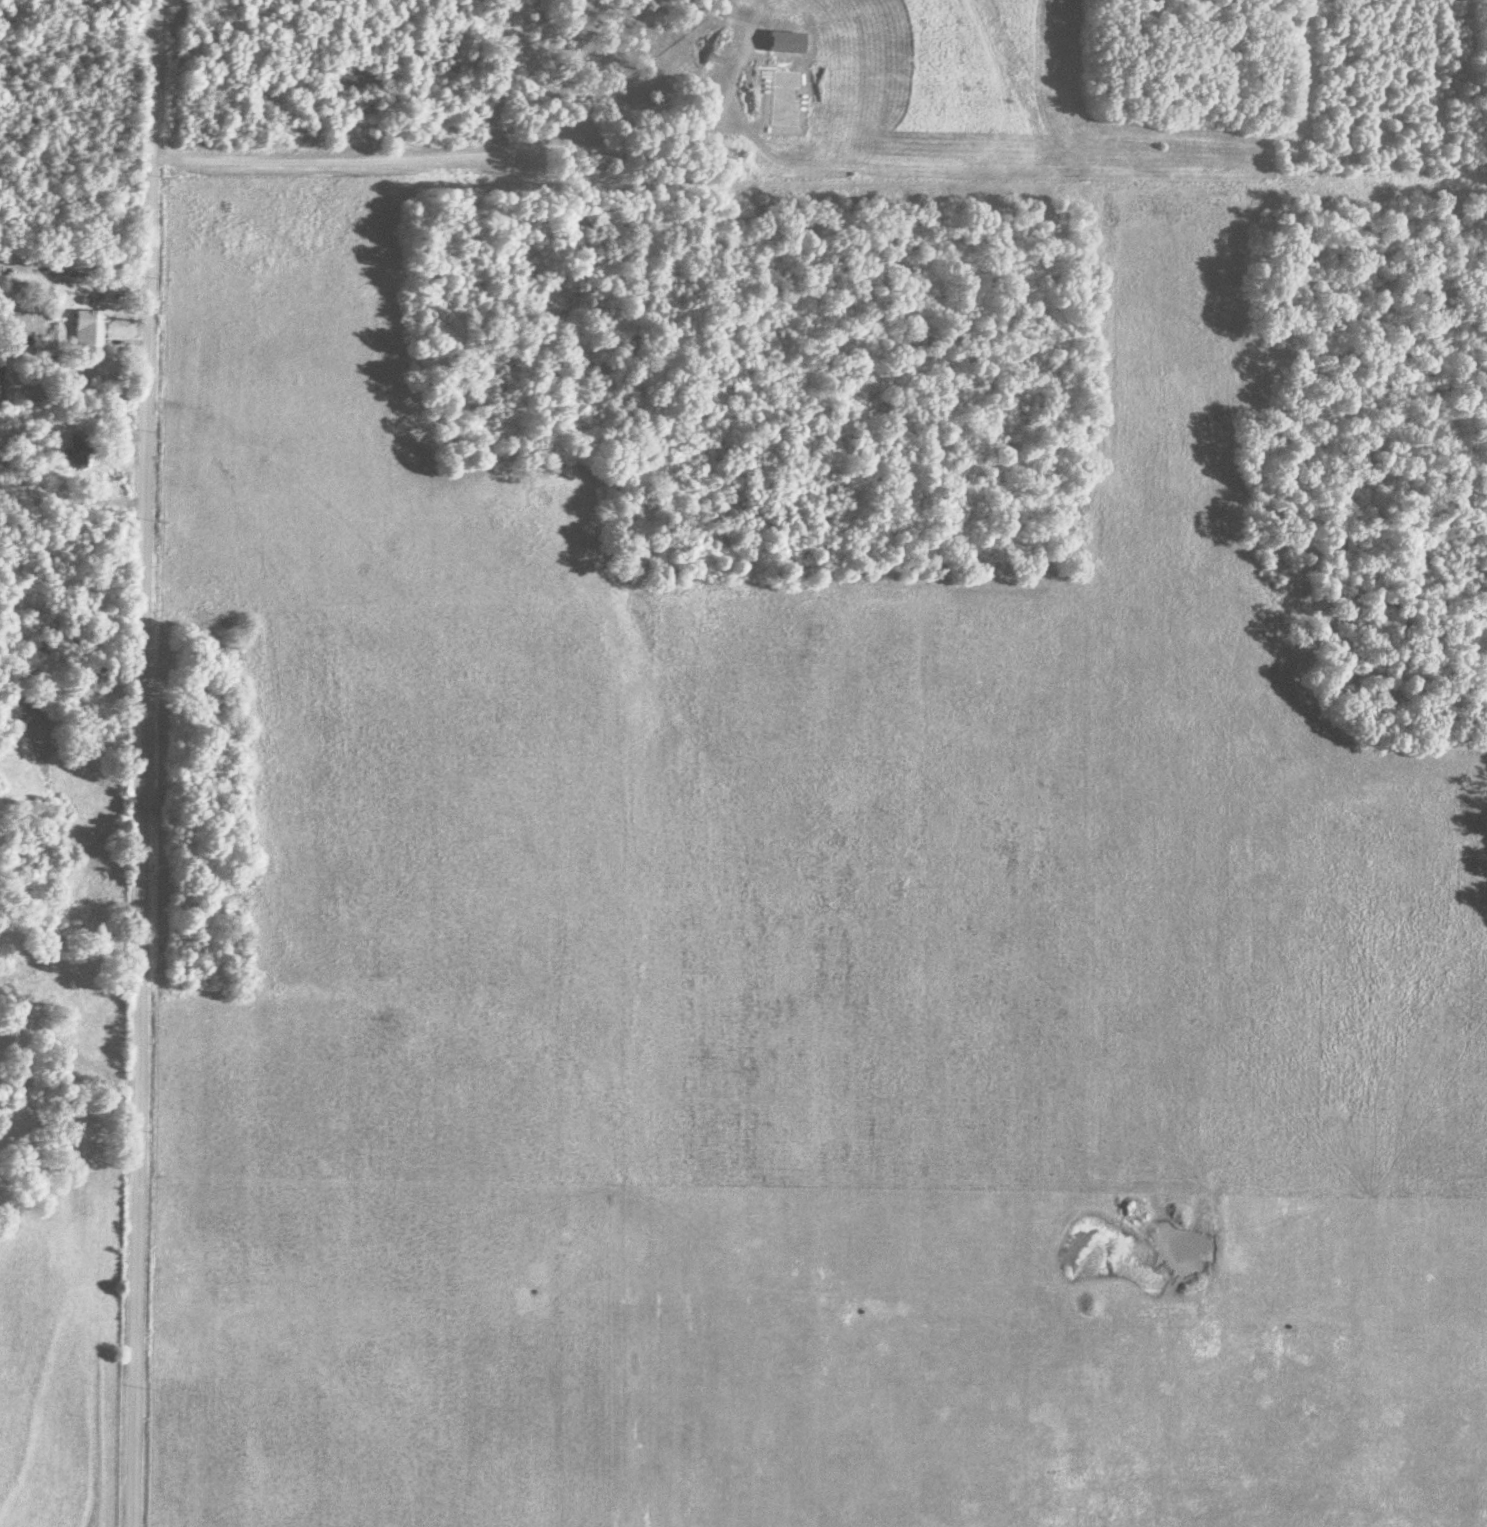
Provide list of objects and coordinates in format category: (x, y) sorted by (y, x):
road: (72, 34)
road: (459, 157)
building: (87, 330)
road: (138, 763)

